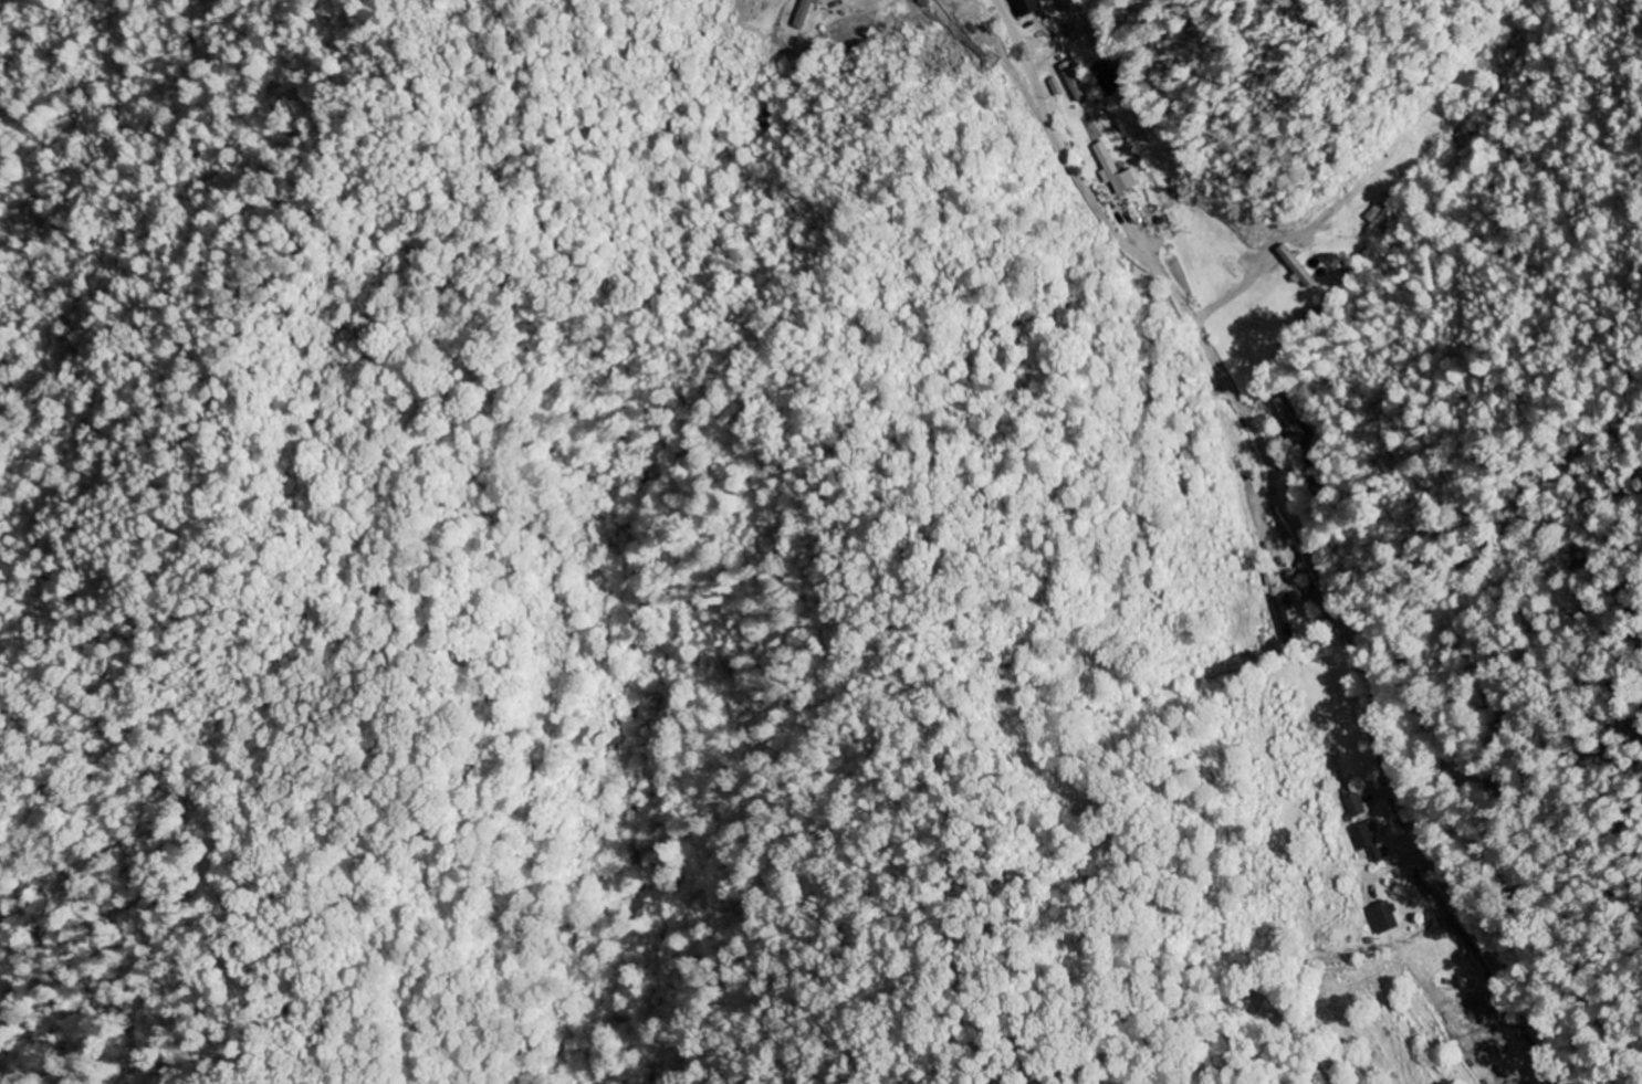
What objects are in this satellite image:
building: (1025, 8)
building: (801, 14)
building: (1113, 171)
road: (1155, 476)
road: (1298, 537)
building: (1283, 618)
building: (1366, 840)
building: (1382, 918)

